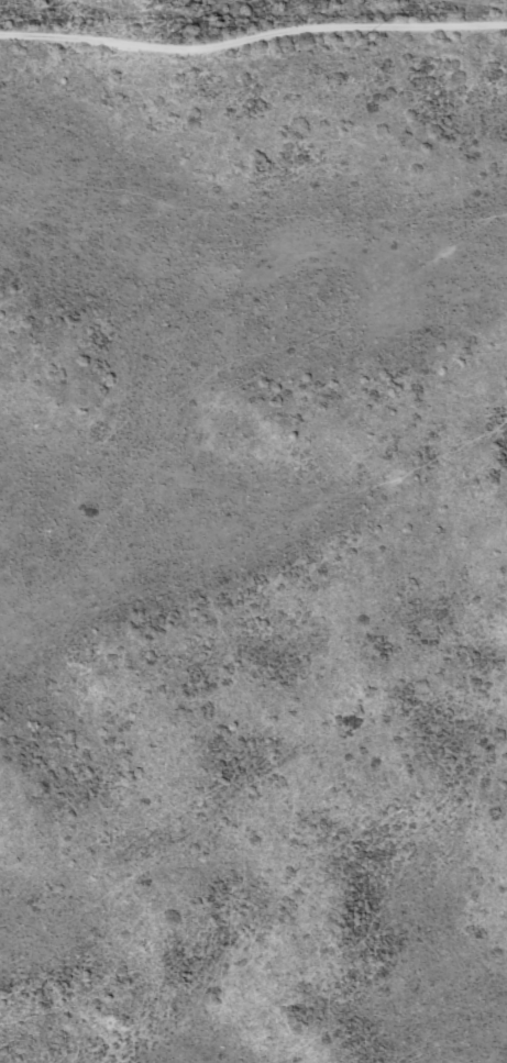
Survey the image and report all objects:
road: (252, 37)

